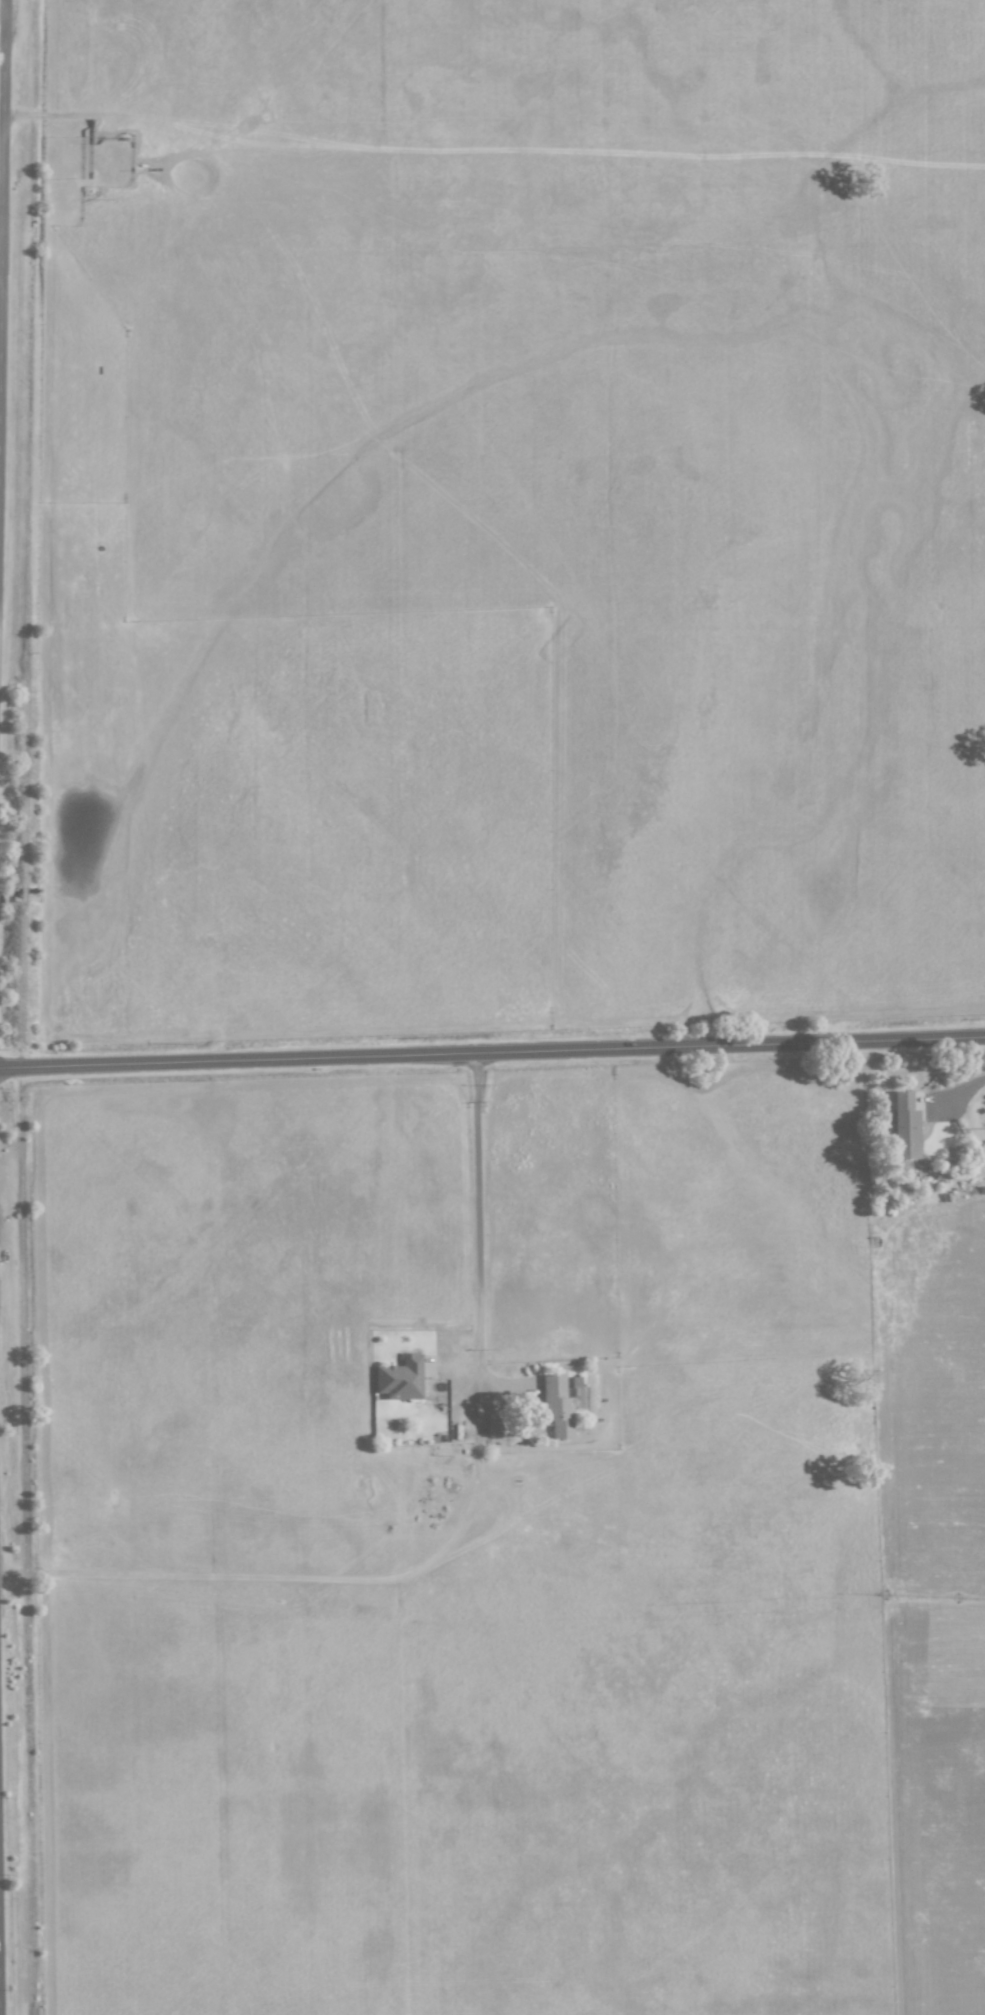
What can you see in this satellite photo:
road: (1, 107)
road: (3, 196)
road: (1, 216)
road: (492, 1054)
road: (961, 1089)
building: (904, 1127)
road: (478, 1227)
building: (559, 1408)
road: (305, 1580)
road: (0, 1977)

